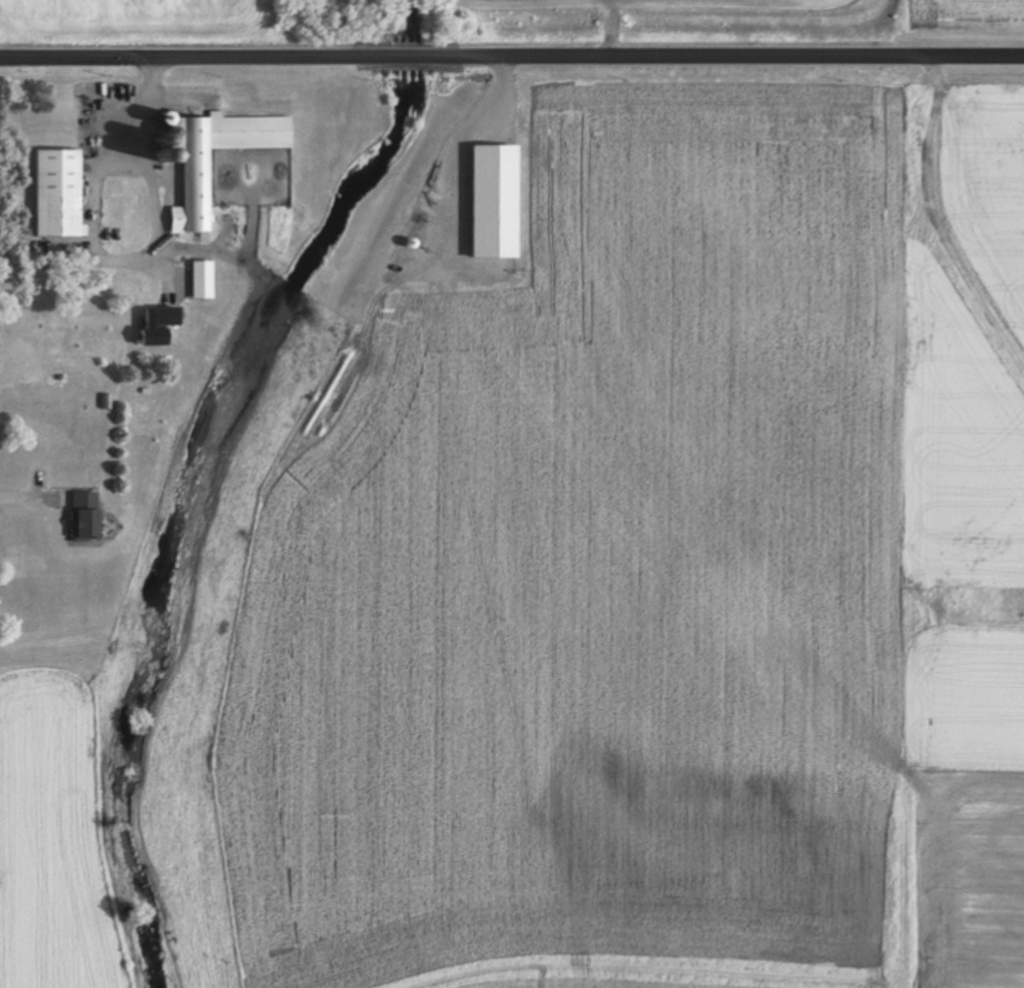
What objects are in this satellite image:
crop: (740, 24)
road: (724, 56)
road: (407, 57)
road: (195, 58)
building: (199, 185)
building: (61, 192)
building: (205, 279)
river: (287, 321)
building: (161, 324)
building: (87, 515)
crop: (656, 555)
river: (159, 823)
crop: (54, 837)

